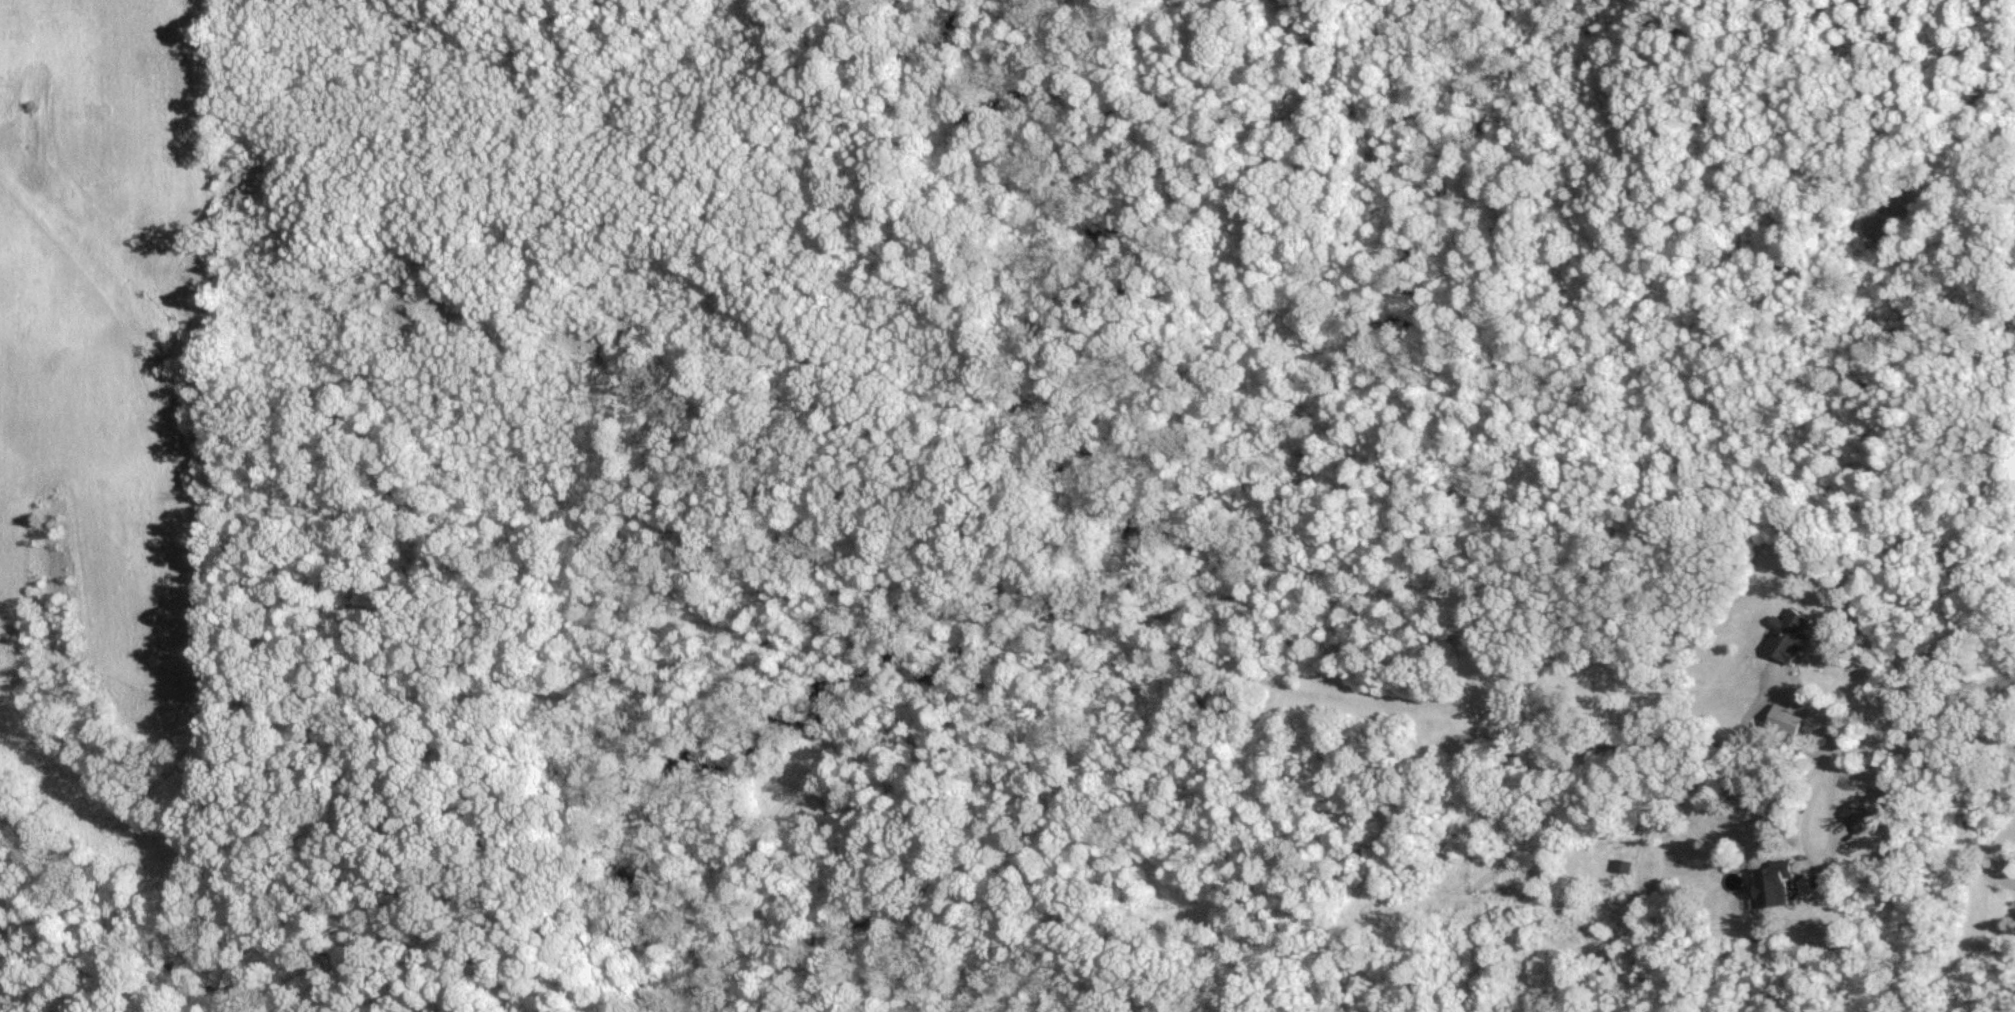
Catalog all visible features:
building: (1791, 634)
road: (1886, 749)
building: (1863, 816)
road: (1806, 849)
building: (1777, 884)

